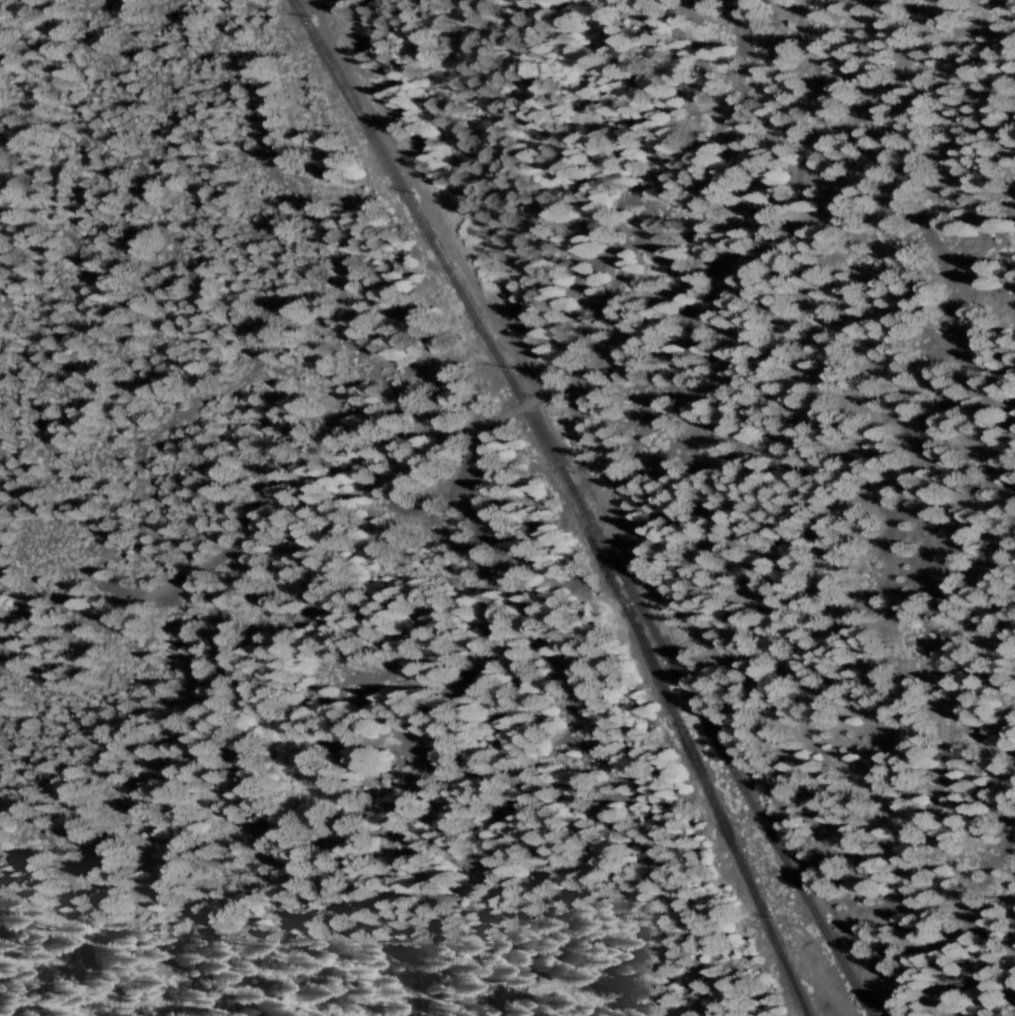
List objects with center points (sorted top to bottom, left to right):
railway: (437, 248)
road: (523, 409)
road: (504, 721)
railway: (690, 757)
railway: (725, 757)

